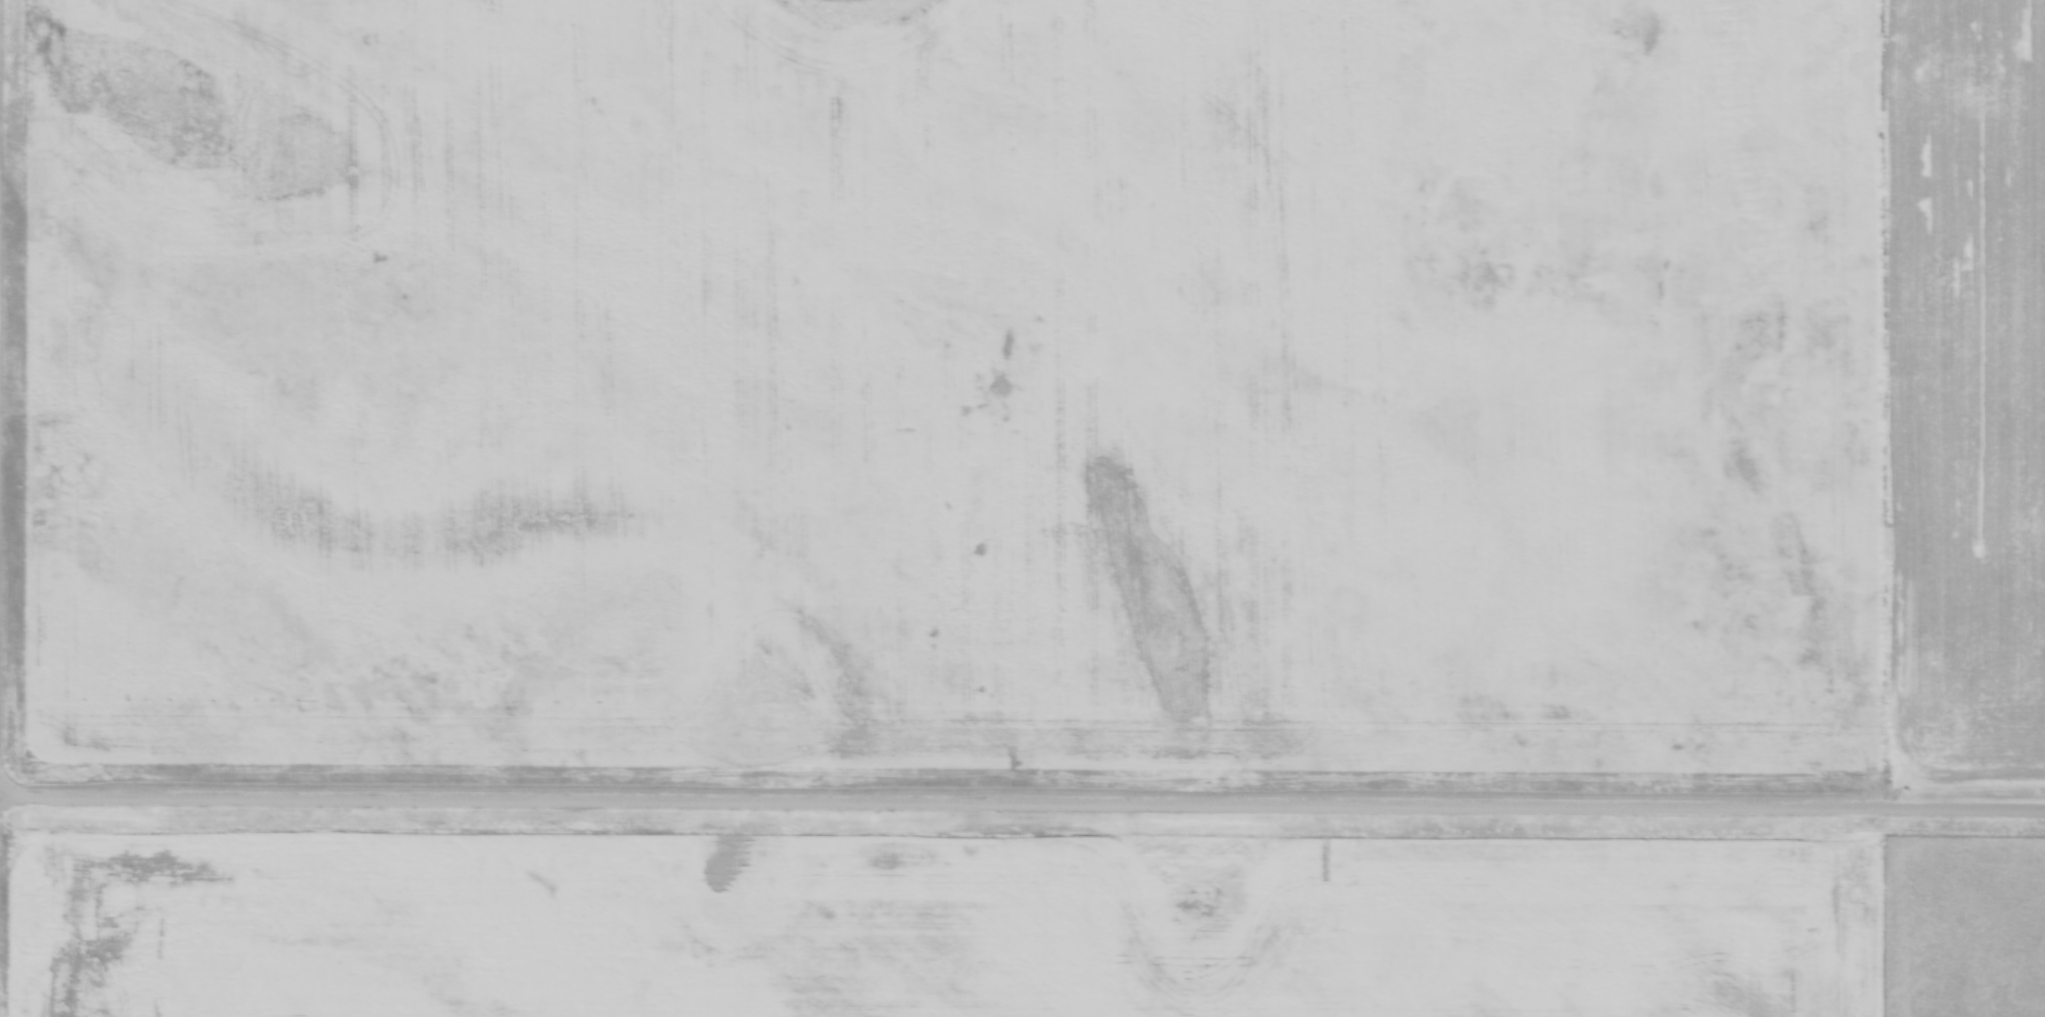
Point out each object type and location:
road: (1022, 801)

